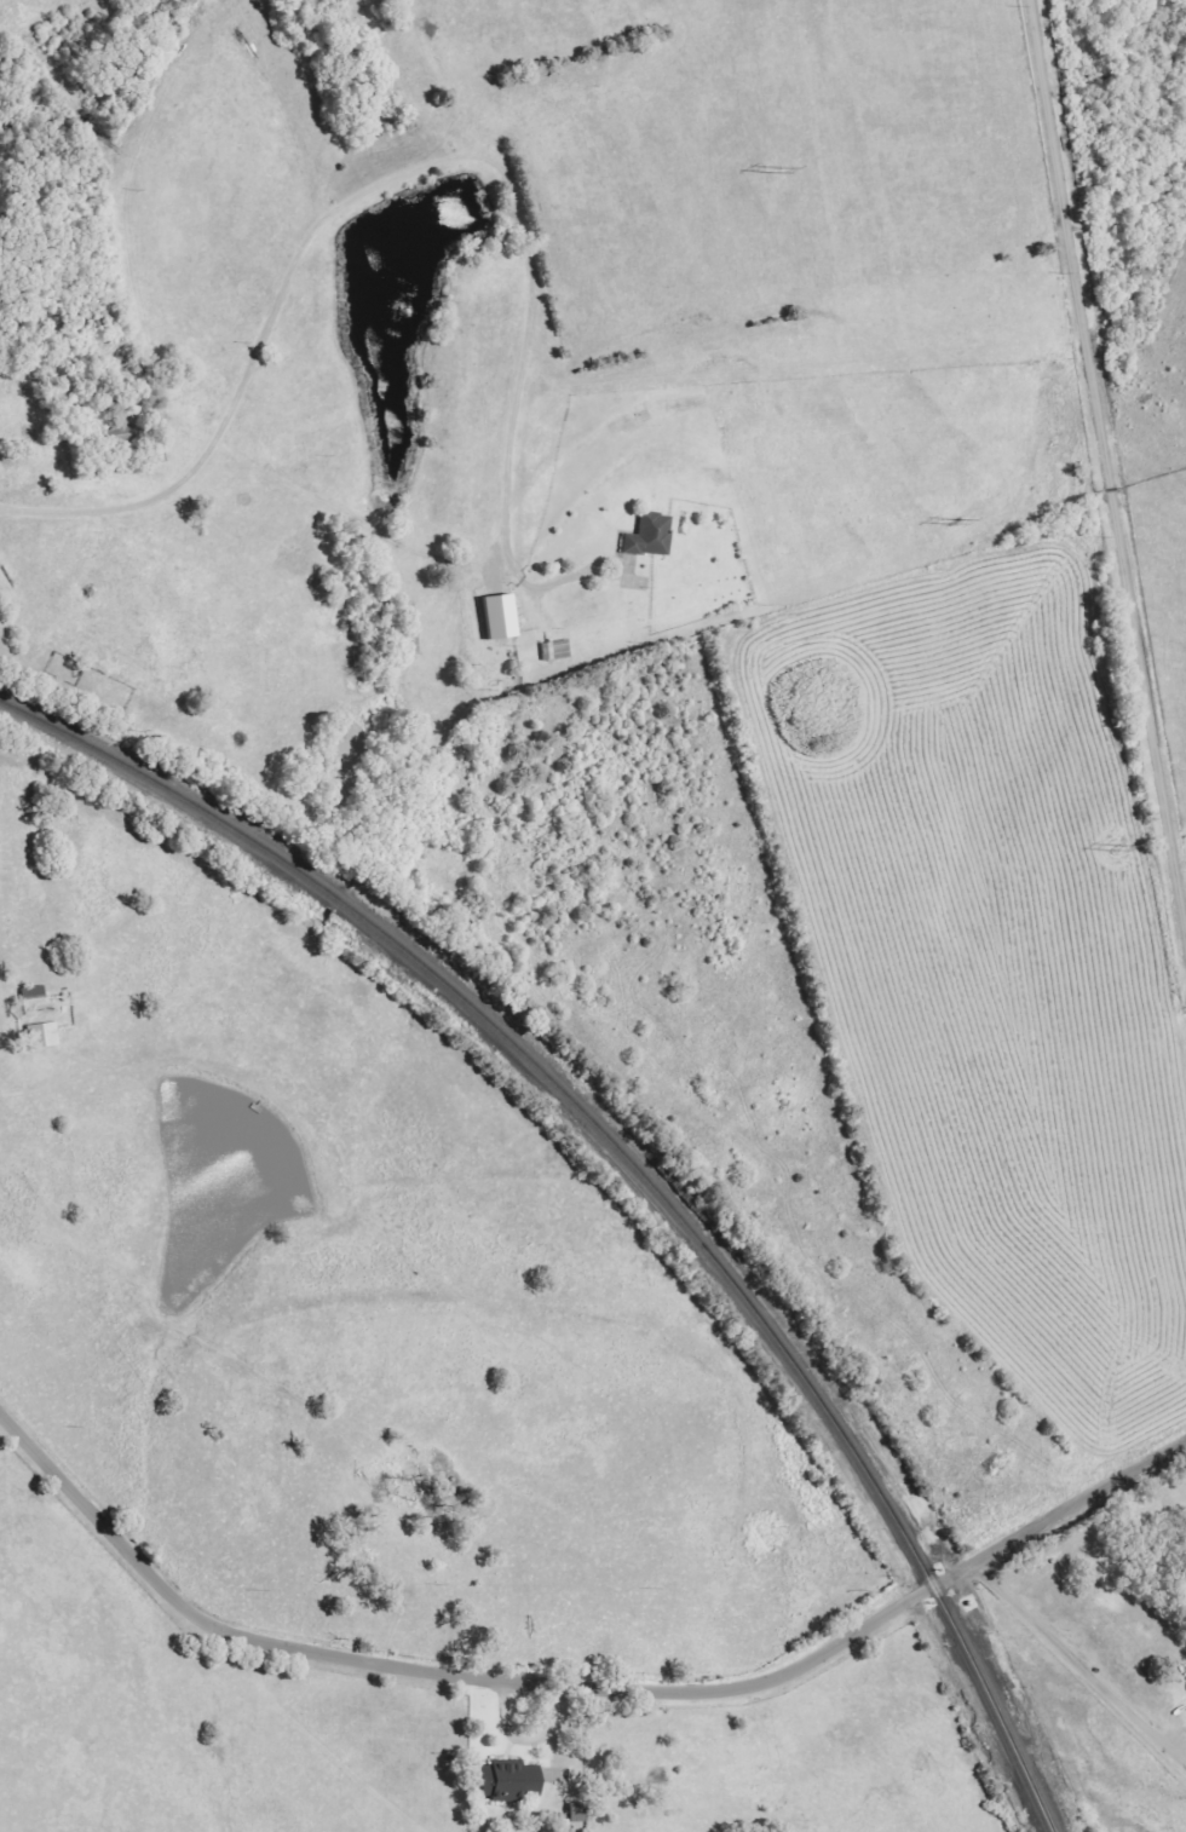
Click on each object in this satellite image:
road: (388, 169)
power tower: (776, 169)
road: (1105, 476)
power tower: (954, 522)
building: (652, 536)
power tower: (1116, 847)
building: (44, 1036)
railway: (633, 1165)
road: (1076, 1669)
road: (577, 1692)
building: (513, 1782)

